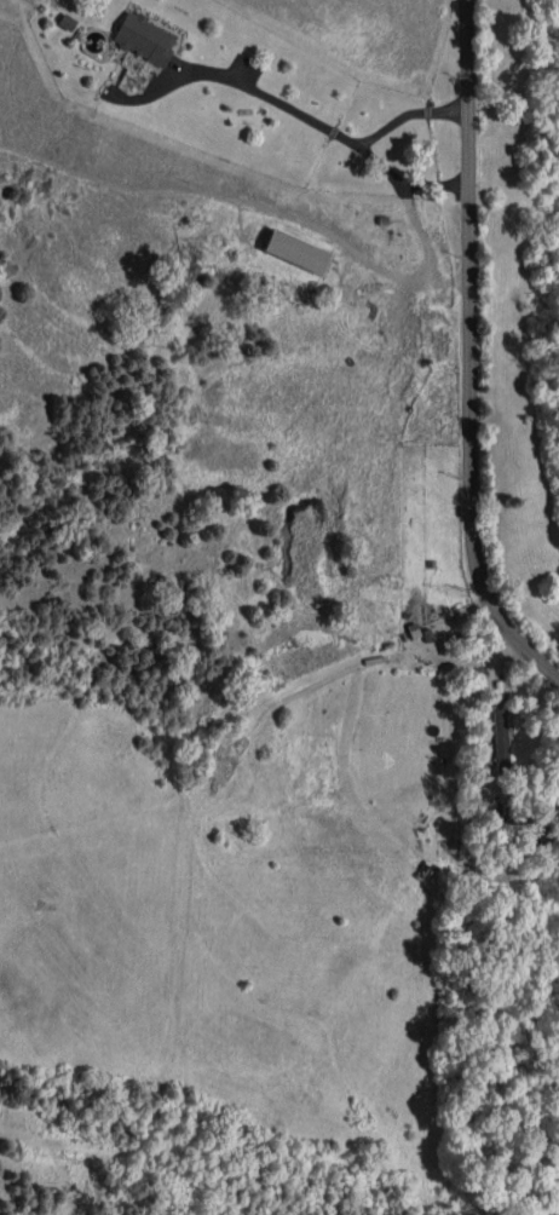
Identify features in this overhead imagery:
building: (144, 38)
road: (312, 121)
road: (403, 182)
building: (295, 251)
road: (469, 357)
building: (500, 736)

